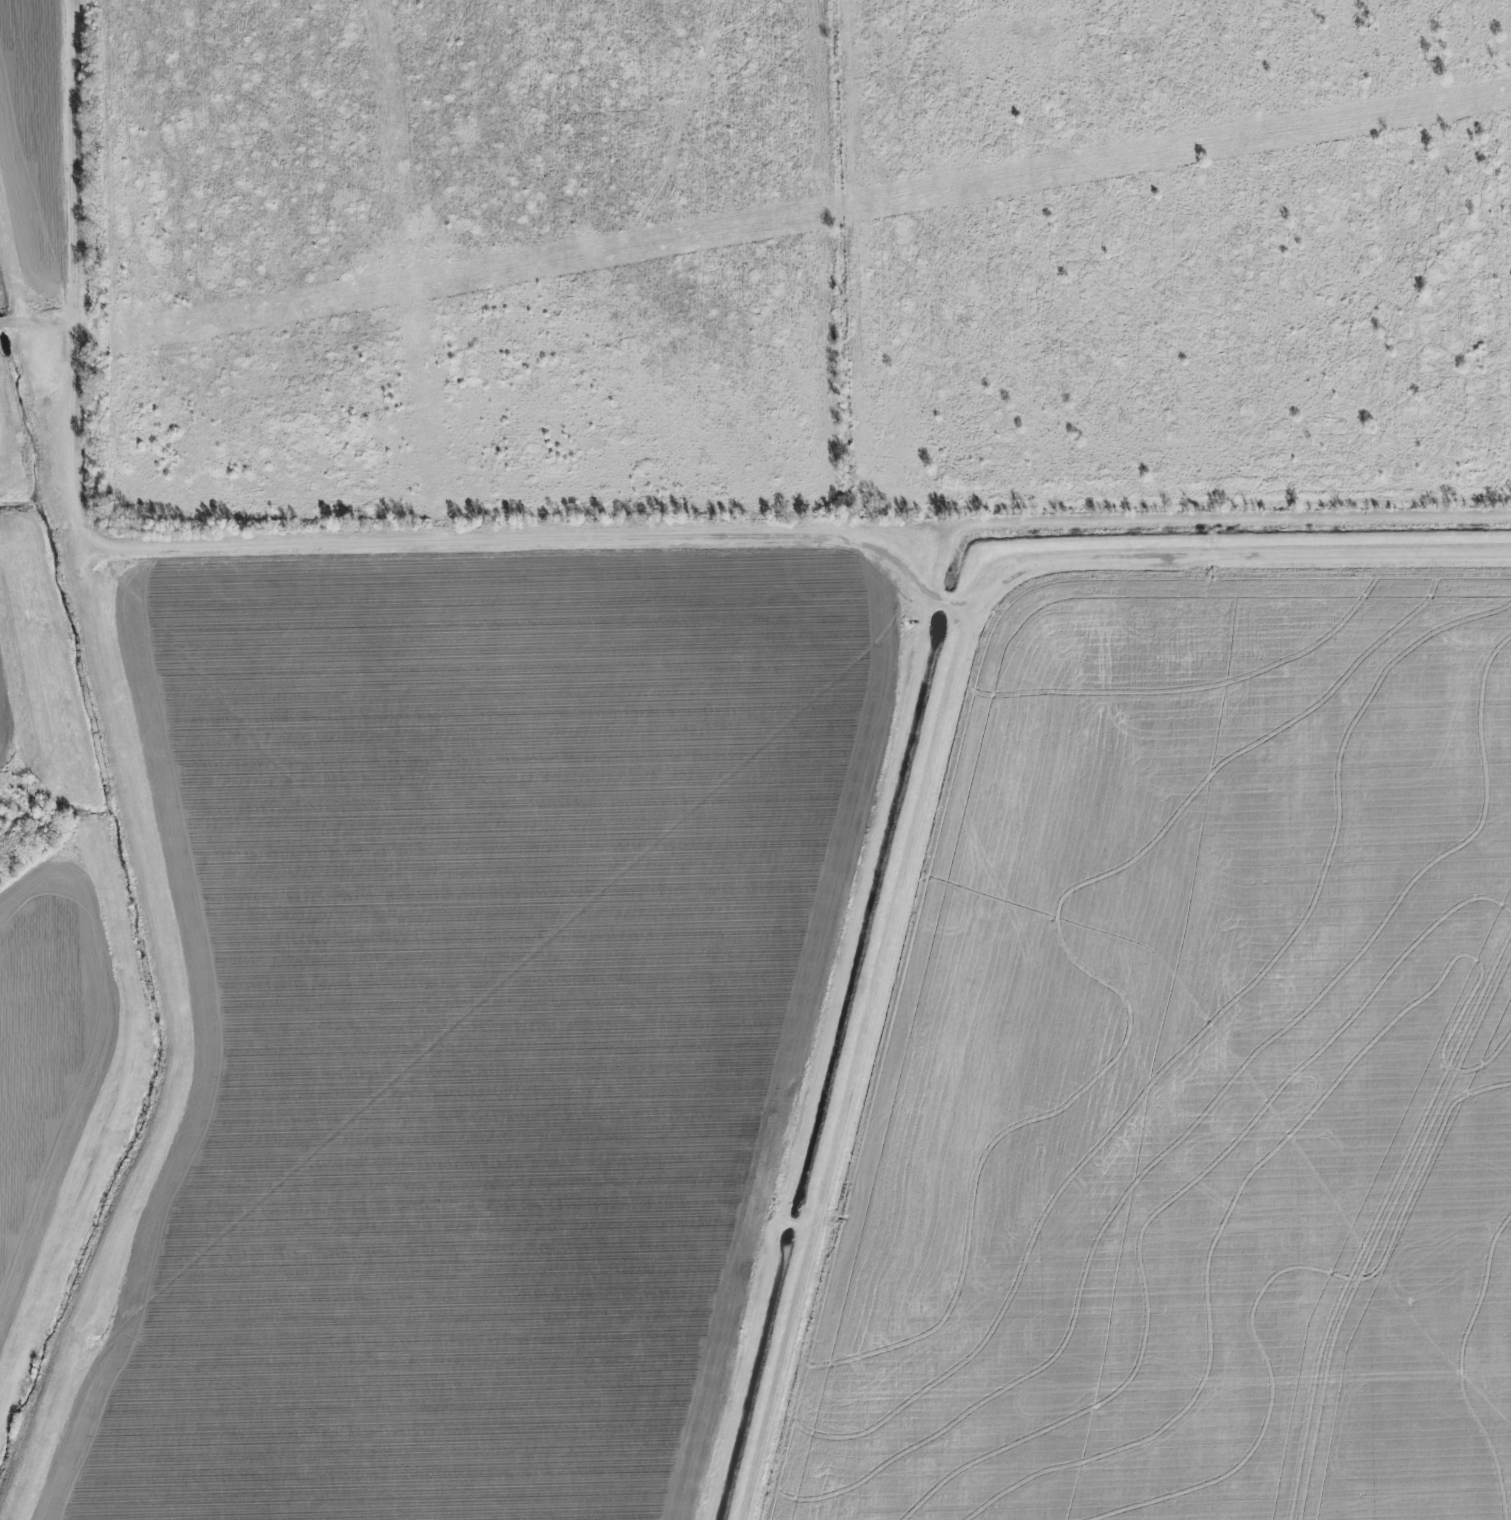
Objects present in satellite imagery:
road: (924, 792)
river: (148, 981)

